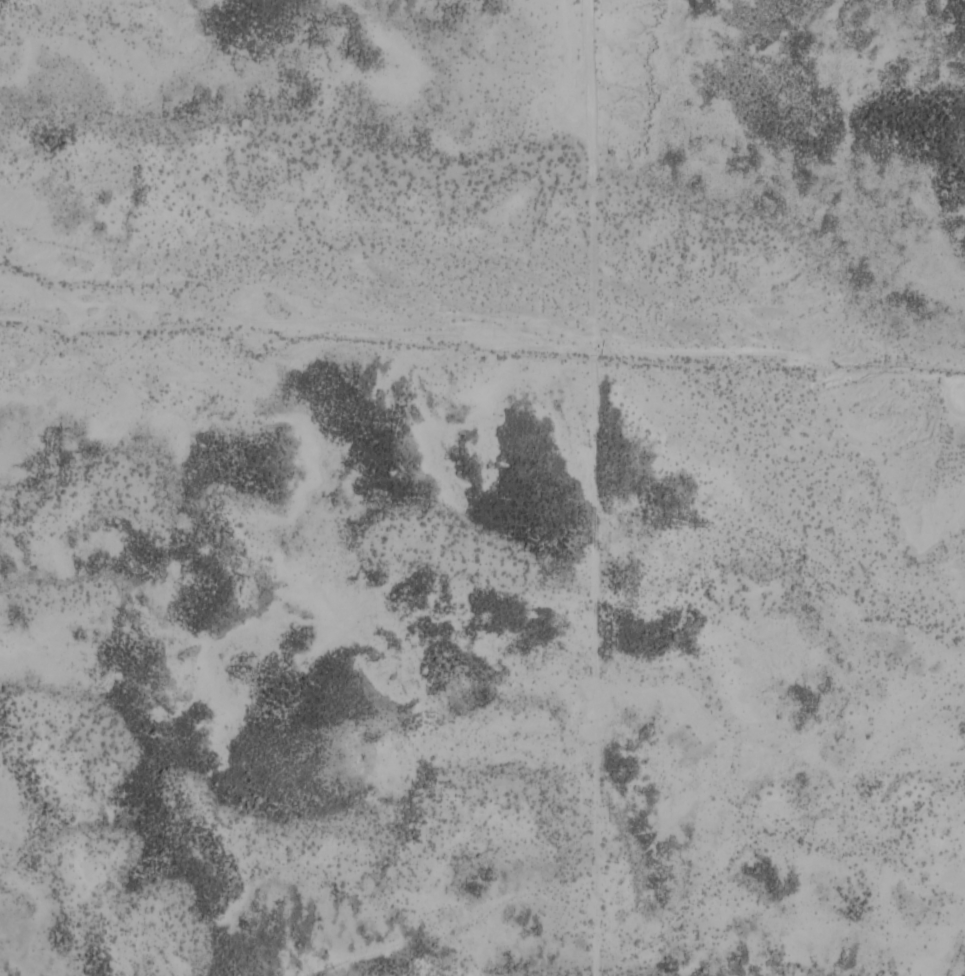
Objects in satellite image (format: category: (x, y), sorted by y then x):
road: (482, 339)

